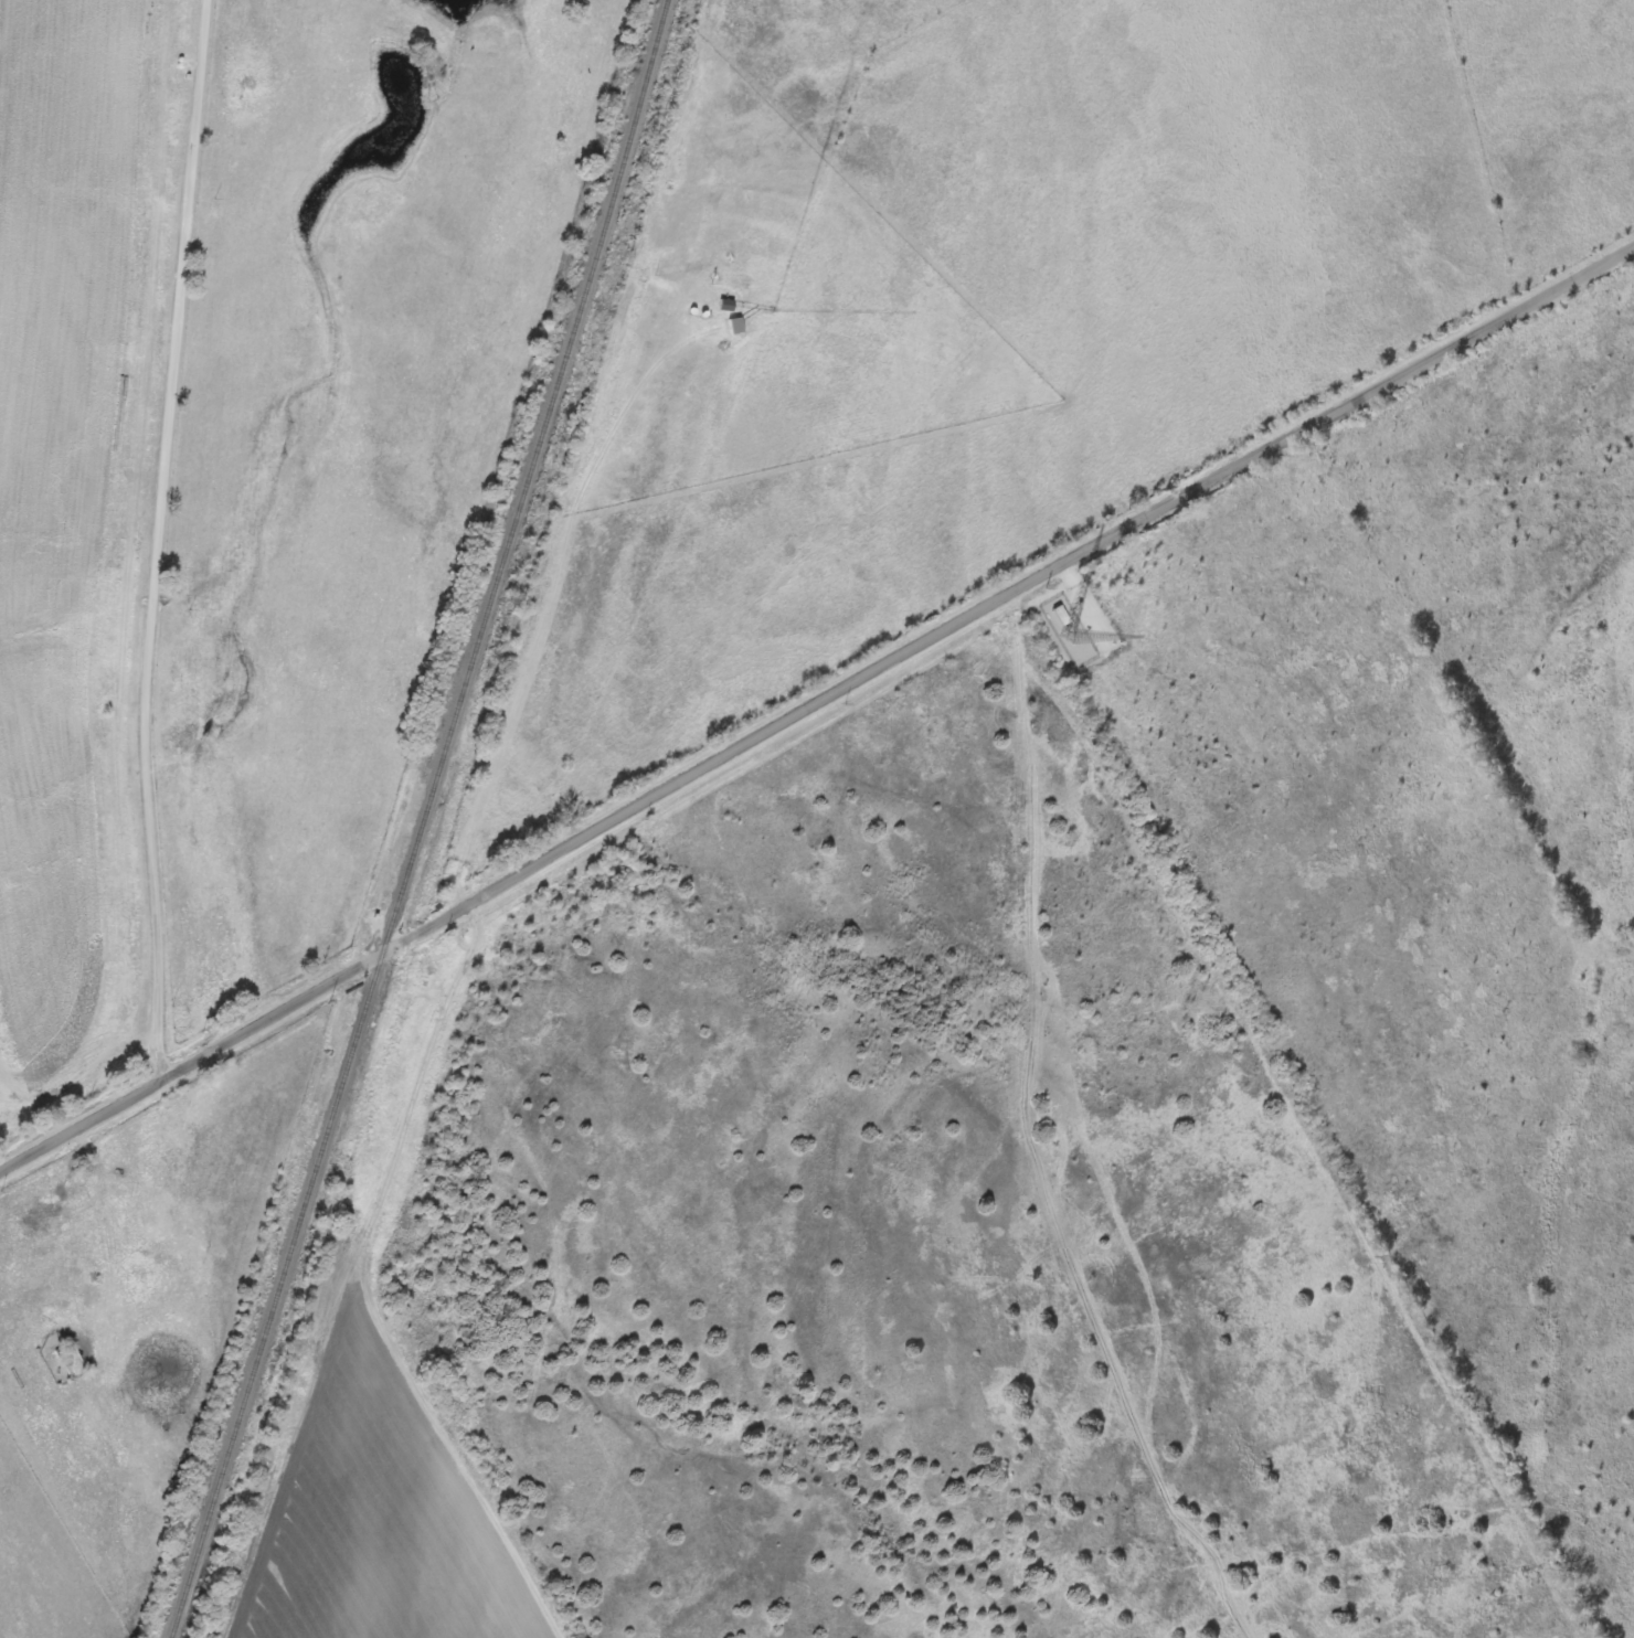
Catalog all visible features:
building: (733, 326)
road: (105, 555)
building: (1059, 623)
road: (815, 709)
railway: (426, 820)
building: (46, 1325)

